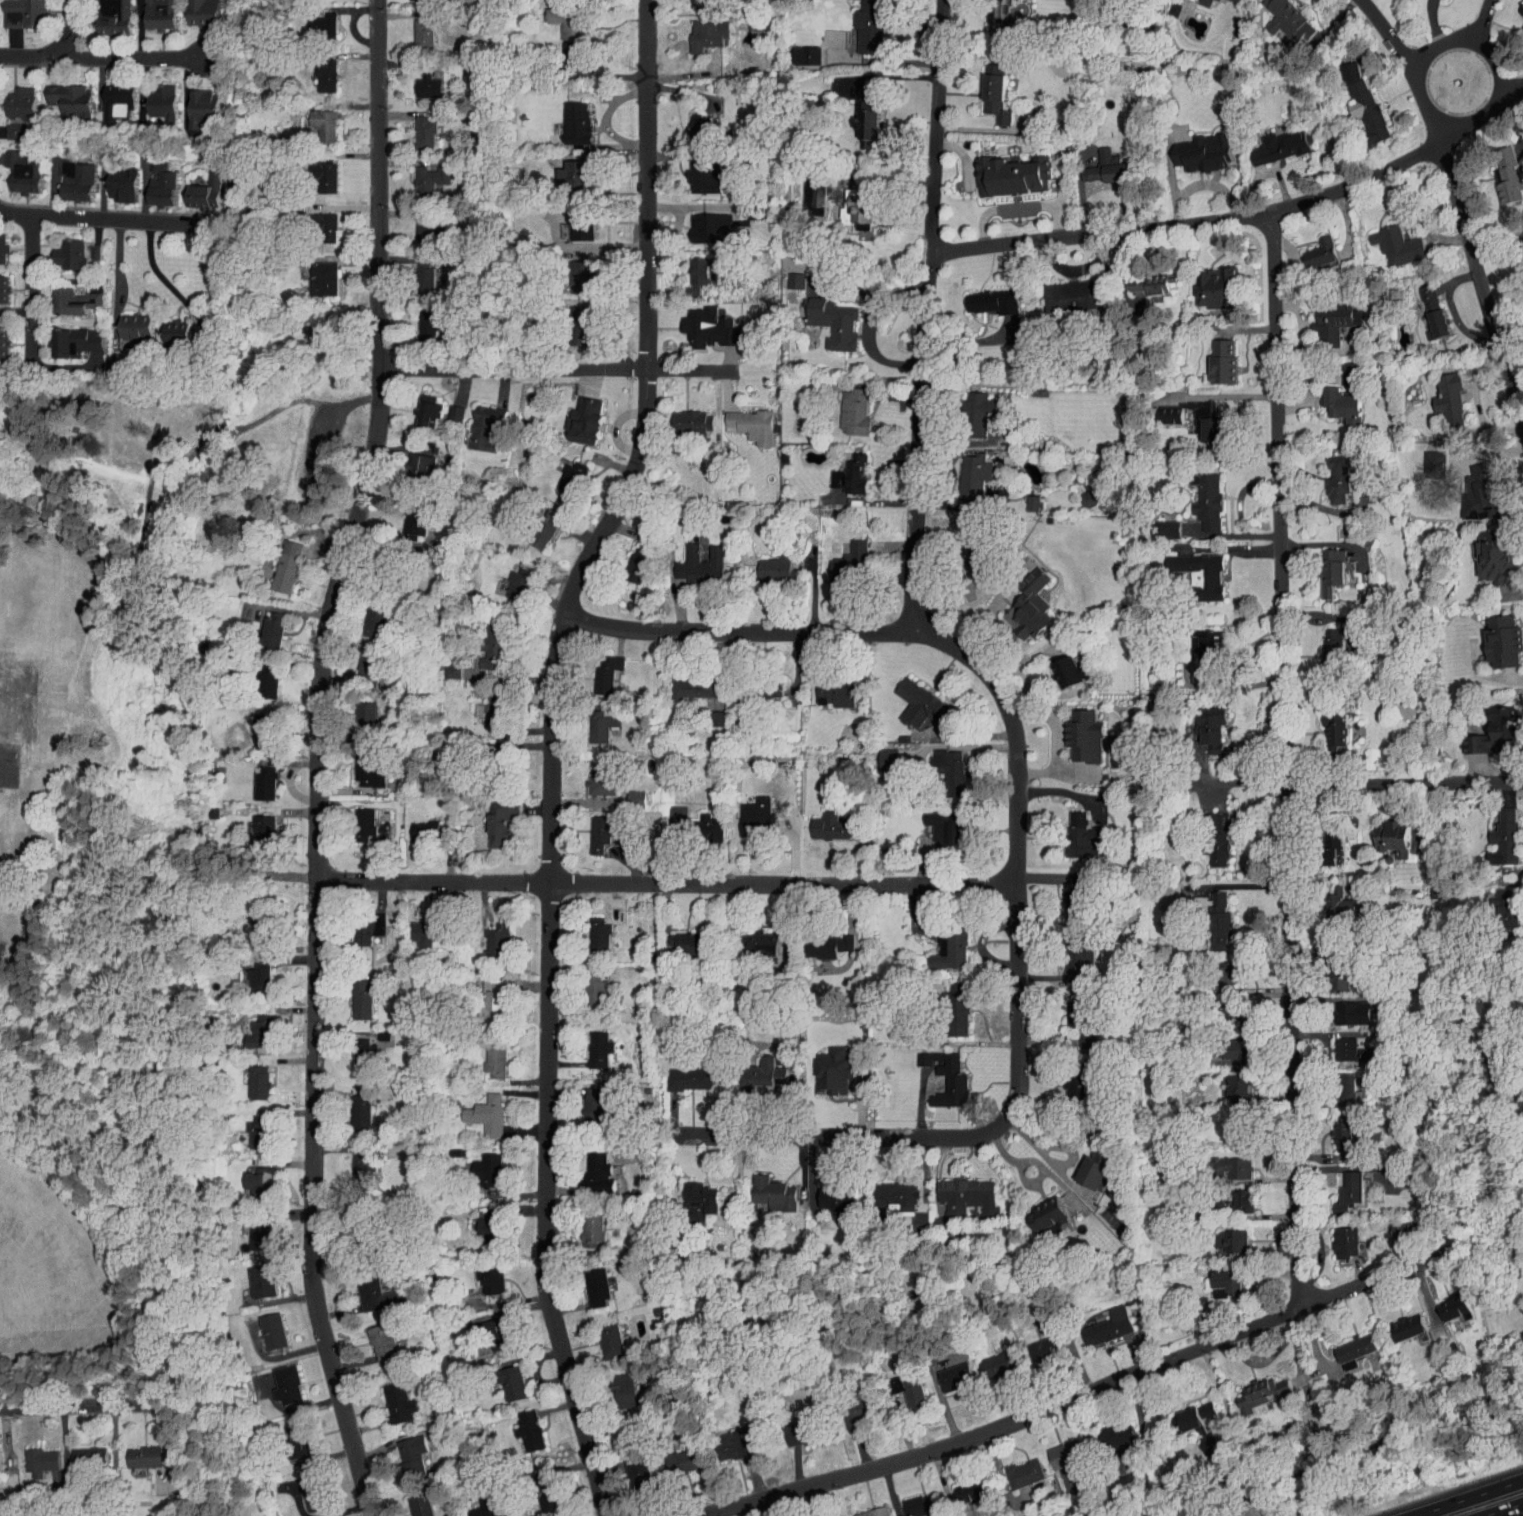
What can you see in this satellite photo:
building: (1197, 0)
building: (1517, 7)
building: (988, 8)
building: (191, 9)
building: (15, 10)
building: (148, 10)
building: (101, 13)
road: (1480, 13)
building: (557, 15)
building: (1279, 18)
building: (311, 20)
road: (1431, 22)
building: (859, 23)
building: (412, 25)
building: (697, 28)
road: (1438, 43)
road: (54, 49)
building: (796, 49)
road: (131, 56)
road: (1493, 60)
building: (315, 70)
building: (417, 79)
building: (985, 86)
building: (59, 93)
building: (107, 95)
building: (1352, 95)
building: (152, 96)
building: (12, 97)
building: (193, 102)
building: (856, 111)
building: (566, 116)
building: (312, 119)
building: (691, 122)
building: (7, 125)
building: (414, 125)
building: (1271, 140)
building: (1195, 147)
building: (1096, 163)
building: (563, 166)
building: (14, 167)
building: (1002, 169)
building: (693, 170)
building: (1497, 170)
building: (313, 171)
building: (420, 171)
building: (65, 174)
building: (111, 179)
building: (150, 179)
building: (195, 185)
building: (803, 190)
building: (851, 204)
road: (1458, 207)
road: (1242, 214)
building: (570, 218)
road: (109, 220)
building: (315, 221)
building: (417, 222)
building: (700, 222)
building: (1388, 239)
building: (1522, 242)
building: (84, 246)
building: (1312, 246)
building: (59, 249)
building: (689, 269)
building: (572, 271)
building: (312, 272)
building: (414, 272)
building: (784, 274)
building: (1141, 278)
building: (1205, 282)
road: (33, 286)
road: (168, 286)
building: (1064, 289)
building: (62, 295)
building: (983, 296)
building: (1423, 307)
road: (1451, 312)
road: (928, 313)
building: (824, 316)
building: (1324, 316)
building: (415, 318)
building: (571, 319)
building: (124, 320)
building: (698, 322)
building: (308, 325)
road: (867, 325)
building: (166, 327)
building: (63, 336)
building: (1213, 355)
road: (575, 369)
building: (1439, 394)
building: (1334, 399)
building: (418, 404)
building: (844, 406)
building: (444, 407)
building: (968, 407)
building: (1161, 408)
road: (1477, 408)
building: (575, 414)
building: (1196, 414)
building: (682, 416)
building: (741, 420)
building: (473, 422)
building: (1425, 459)
building: (408, 461)
building: (845, 467)
building: (963, 470)
building: (561, 472)
building: (1327, 473)
road: (1502, 477)
building: (1472, 488)
building: (1078, 492)
building: (1198, 496)
building: (1022, 497)
building: (404, 516)
building: (533, 527)
building: (847, 543)
building: (1485, 549)
building: (968, 557)
building: (690, 559)
building: (276, 560)
building: (625, 560)
building: (766, 562)
building: (1322, 565)
building: (829, 568)
building: (1190, 568)
building: (508, 576)
building: (1020, 601)
building: (364, 615)
building: (262, 624)
road: (738, 630)
building: (484, 633)
building: (1493, 635)
building: (1197, 637)
building: (358, 661)
building: (598, 664)
building: (441, 665)
building: (1058, 667)
building: (684, 682)
building: (762, 685)
building: (826, 687)
building: (909, 698)
park: (19, 700)
building: (355, 705)
building: (591, 722)
building: (1201, 722)
building: (1325, 725)
building: (251, 726)
building: (1488, 726)
building: (1073, 731)
road: (1052, 744)
road: (552, 752)
building: (878, 754)
road: (320, 758)
road: (1287, 758)
building: (940, 765)
building: (359, 770)
building: (591, 774)
building: (255, 778)
road: (1342, 782)
building: (628, 792)
building: (744, 810)
building: (490, 816)
building: (354, 819)
building: (823, 821)
building: (700, 823)
building: (937, 824)
building: (414, 826)
building: (590, 826)
building: (253, 828)
building: (1075, 831)
building: (1384, 833)
building: (1495, 833)
building: (1207, 834)
building: (1326, 842)
park: (101, 876)
road: (666, 886)
building: (1330, 897)
building: (1496, 903)
building: (1210, 916)
building: (250, 918)
building: (415, 926)
building: (588, 927)
building: (352, 929)
building: (486, 934)
building: (676, 937)
building: (751, 938)
building: (817, 940)
building: (941, 944)
building: (1069, 958)
building: (1222, 965)
building: (248, 973)
building: (1329, 973)
building: (586, 985)
building: (481, 993)
building: (350, 994)
building: (947, 1004)
building: (1225, 1007)
building: (1345, 1007)
road: (1017, 1014)
building: (1070, 1023)
building: (250, 1027)
building: (1337, 1043)
building: (589, 1044)
building: (1223, 1045)
building: (353, 1050)
building: (913, 1054)
building: (484, 1056)
building: (823, 1065)
building: (755, 1067)
building: (679, 1073)
building: (248, 1077)
building: (940, 1078)
building: (1228, 1080)
building: (1065, 1081)
building: (1338, 1081)
building: (582, 1101)
building: (350, 1106)
building: (476, 1110)
building: (247, 1127)
building: (1333, 1129)
road: (1050, 1162)
building: (351, 1164)
building: (476, 1165)
building: (1086, 1165)
building: (587, 1169)
building: (246, 1175)
building: (1338, 1185)
building: (764, 1188)
building: (884, 1191)
building: (955, 1193)
building: (690, 1194)
building: (829, 1196)
building: (1232, 1196)
building: (1038, 1210)
building: (479, 1220)
building: (1391, 1224)
building: (581, 1225)
building: (249, 1230)
building: (1220, 1233)
building: (1335, 1236)
park: (54, 1271)
building: (251, 1274)
building: (481, 1274)
building: (1217, 1276)
building: (586, 1281)
building: (362, 1288)
building: (1445, 1300)
building: (1098, 1320)
building: (1399, 1320)
building: (262, 1324)
building: (488, 1328)
building: (372, 1334)
building: (600, 1334)
building: (1035, 1343)
building: (1345, 1344)
building: (987, 1357)
building: (944, 1370)
building: (502, 1376)
building: (277, 1378)
building: (897, 1381)
building: (614, 1382)
building: (1251, 1386)
building: (388, 1396)
road: (1069, 1400)
road: (74, 1406)
building: (844, 1406)
building: (518, 1424)
building: (789, 1427)
building: (288, 1431)
building: (1107, 1431)
building: (724, 1438)
building: (1055, 1448)
building: (401, 1449)
building: (78, 1450)
building: (134, 1450)
building: (674, 1454)
building: (30, 1455)
building: (627, 1463)
building: (1014, 1466)
building: (535, 1483)
building: (302, 1484)
building: (960, 1484)
road: (1468, 1498)
building: (909, 1499)
building: (410, 1502)
building: (473, 1504)
building: (863, 1509)
road: (1502, 1509)
building: (826, 1514)

